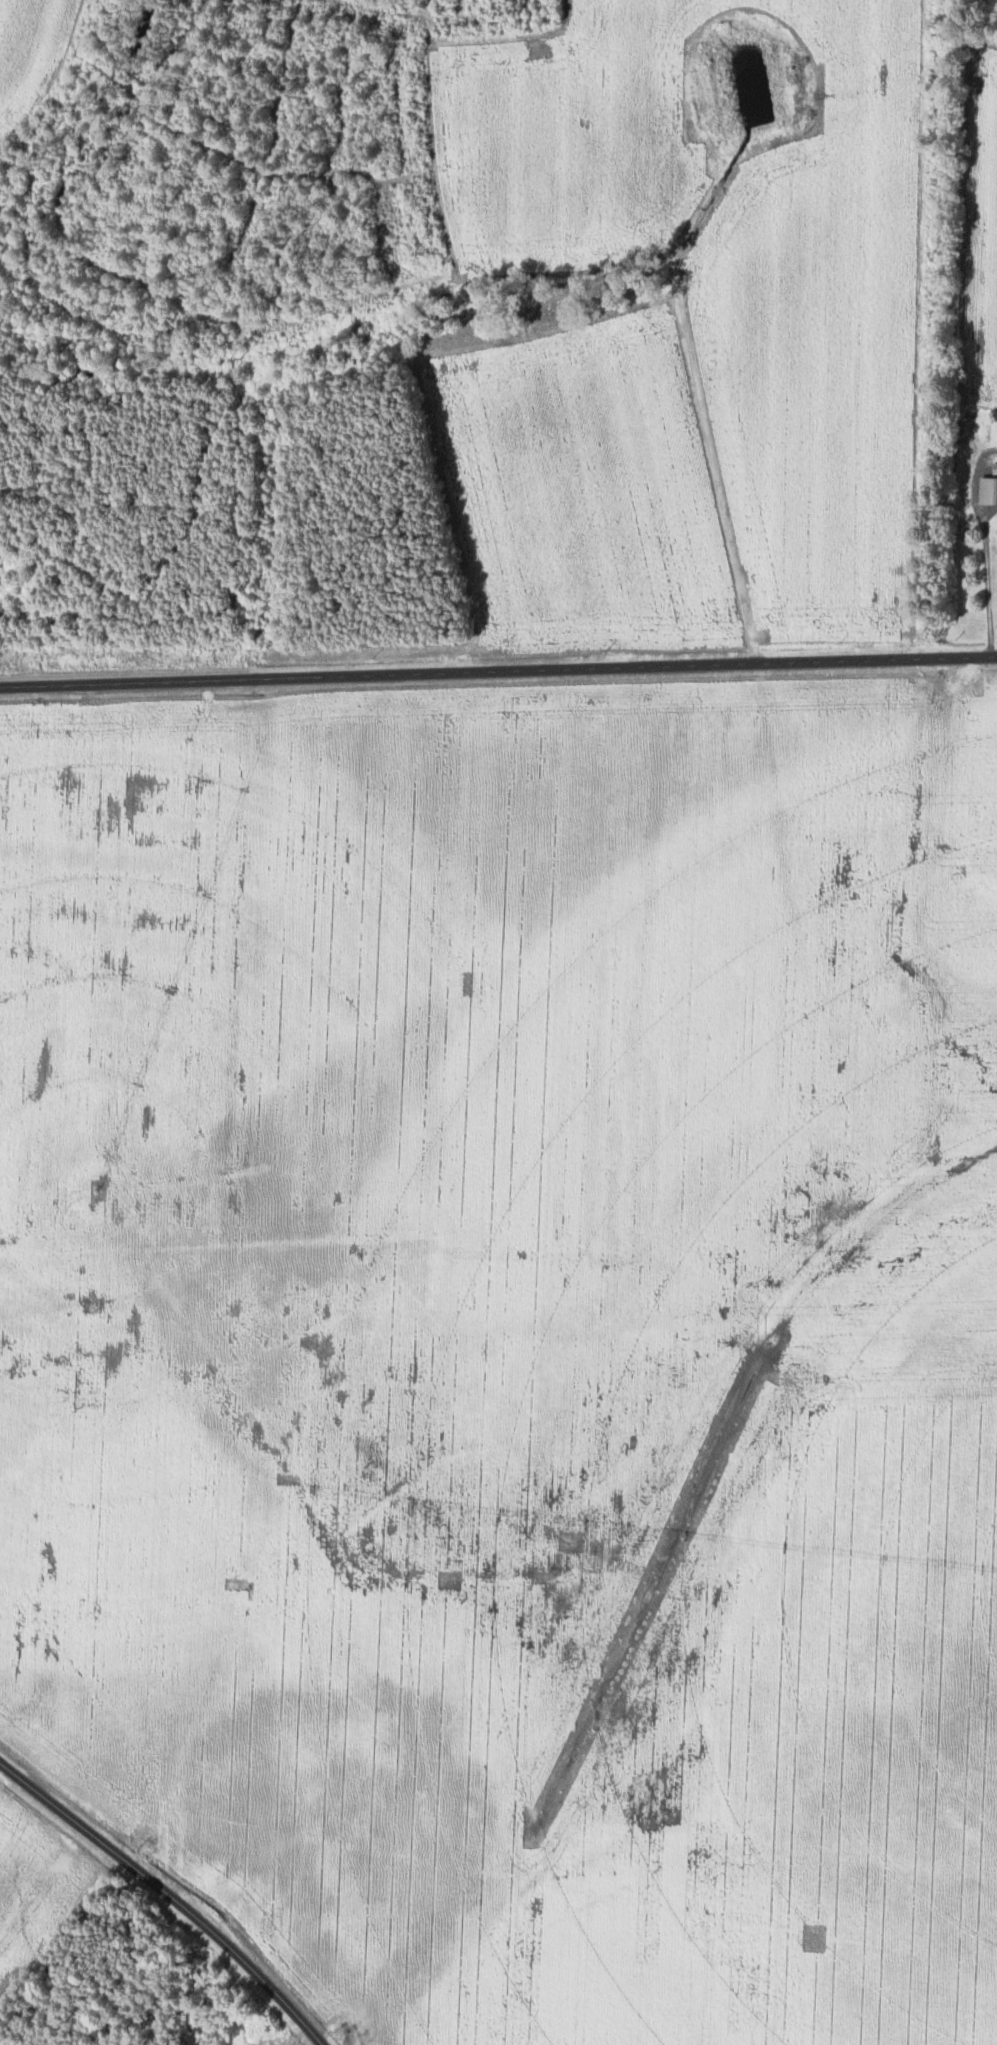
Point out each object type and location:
building: (987, 489)
road: (498, 665)
road: (167, 1894)

